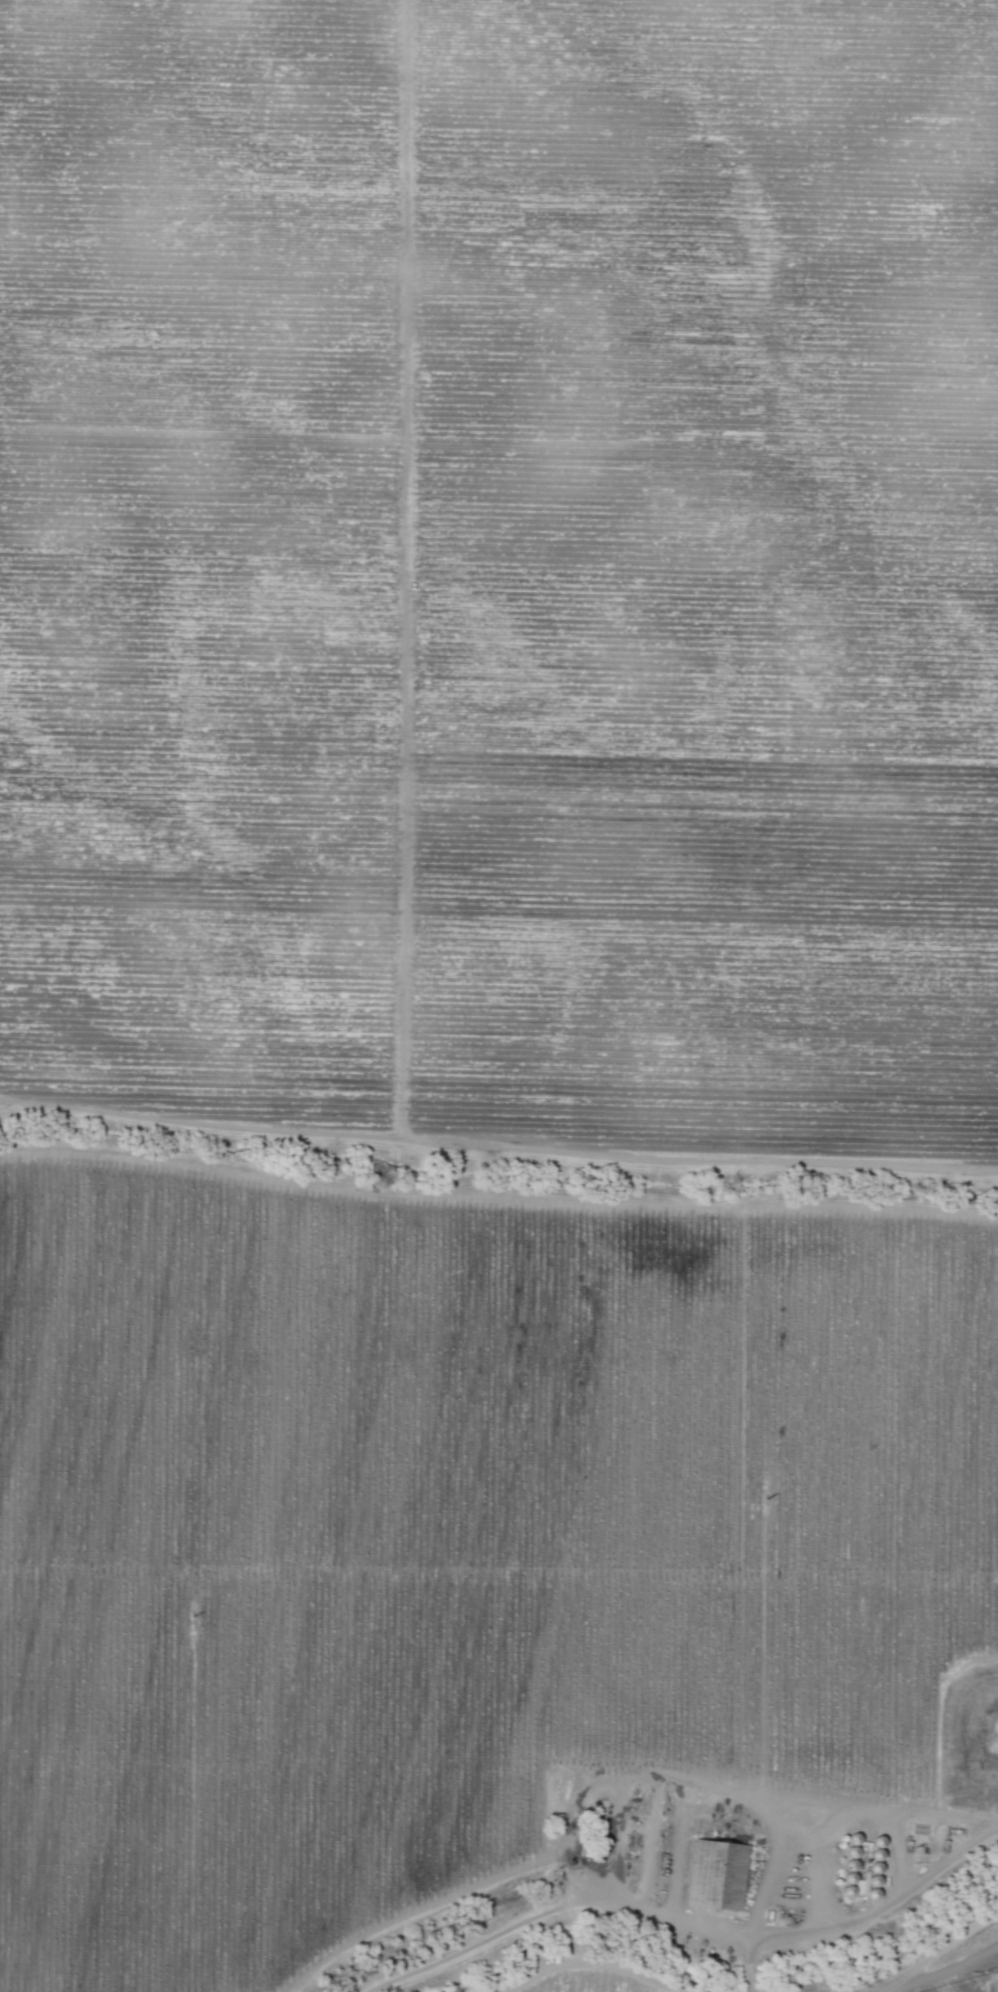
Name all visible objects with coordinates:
road: (498, 1152)
road: (436, 1769)
road: (934, 1810)
road: (574, 1899)
road: (879, 1907)
road: (951, 1946)
road: (941, 1975)

